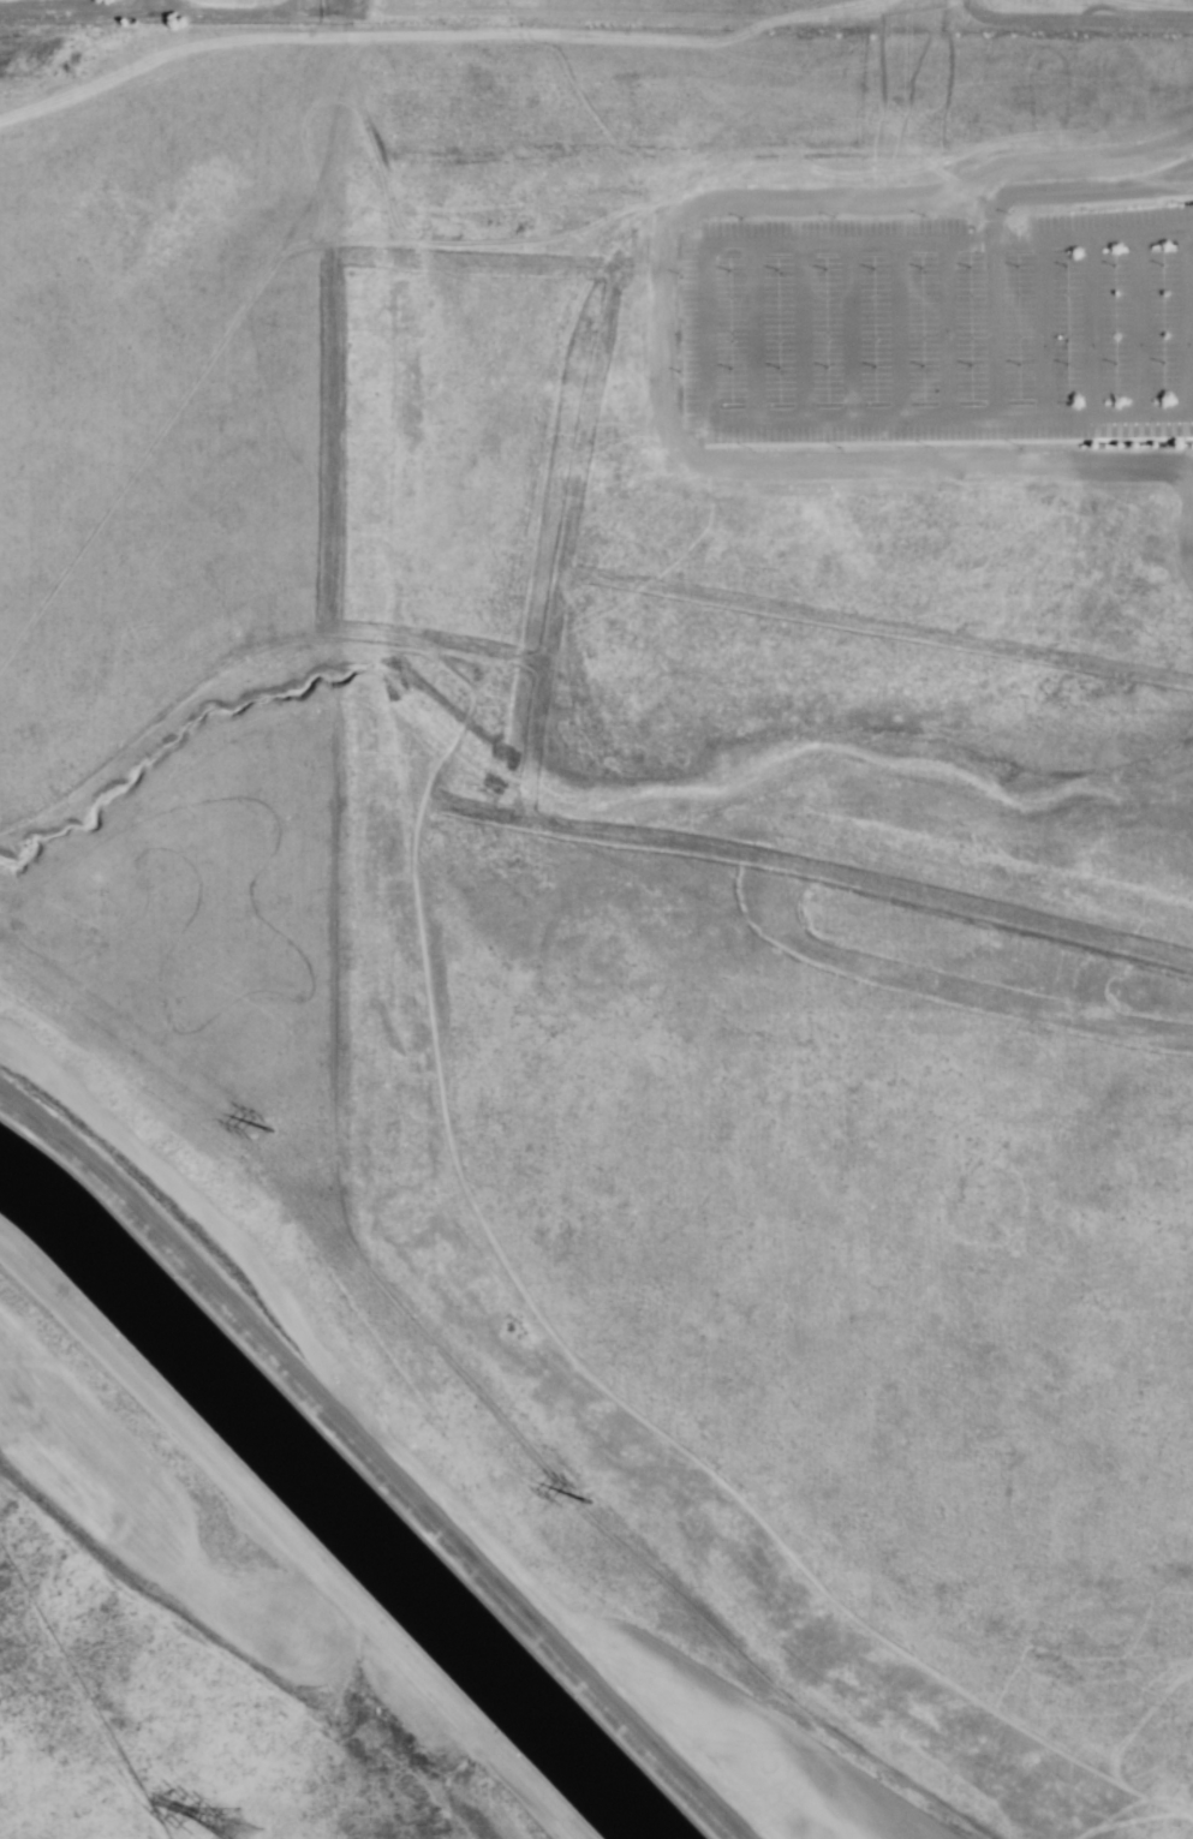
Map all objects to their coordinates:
road: (144, 12)
road: (1069, 191)
road: (1139, 232)
road: (807, 246)
road: (1181, 320)
road: (1134, 322)
road: (1086, 324)
road: (1042, 328)
road: (989, 329)
road: (751, 330)
road: (847, 330)
road: (893, 330)
road: (943, 330)
road: (799, 332)
road: (1140, 411)
road: (896, 413)
road: (327, 568)
road: (876, 627)
road: (530, 740)
road: (815, 877)
power tower: (278, 1104)
road: (112, 1183)
power tower: (608, 1495)
road: (476, 1566)
power tower: (258, 1826)

